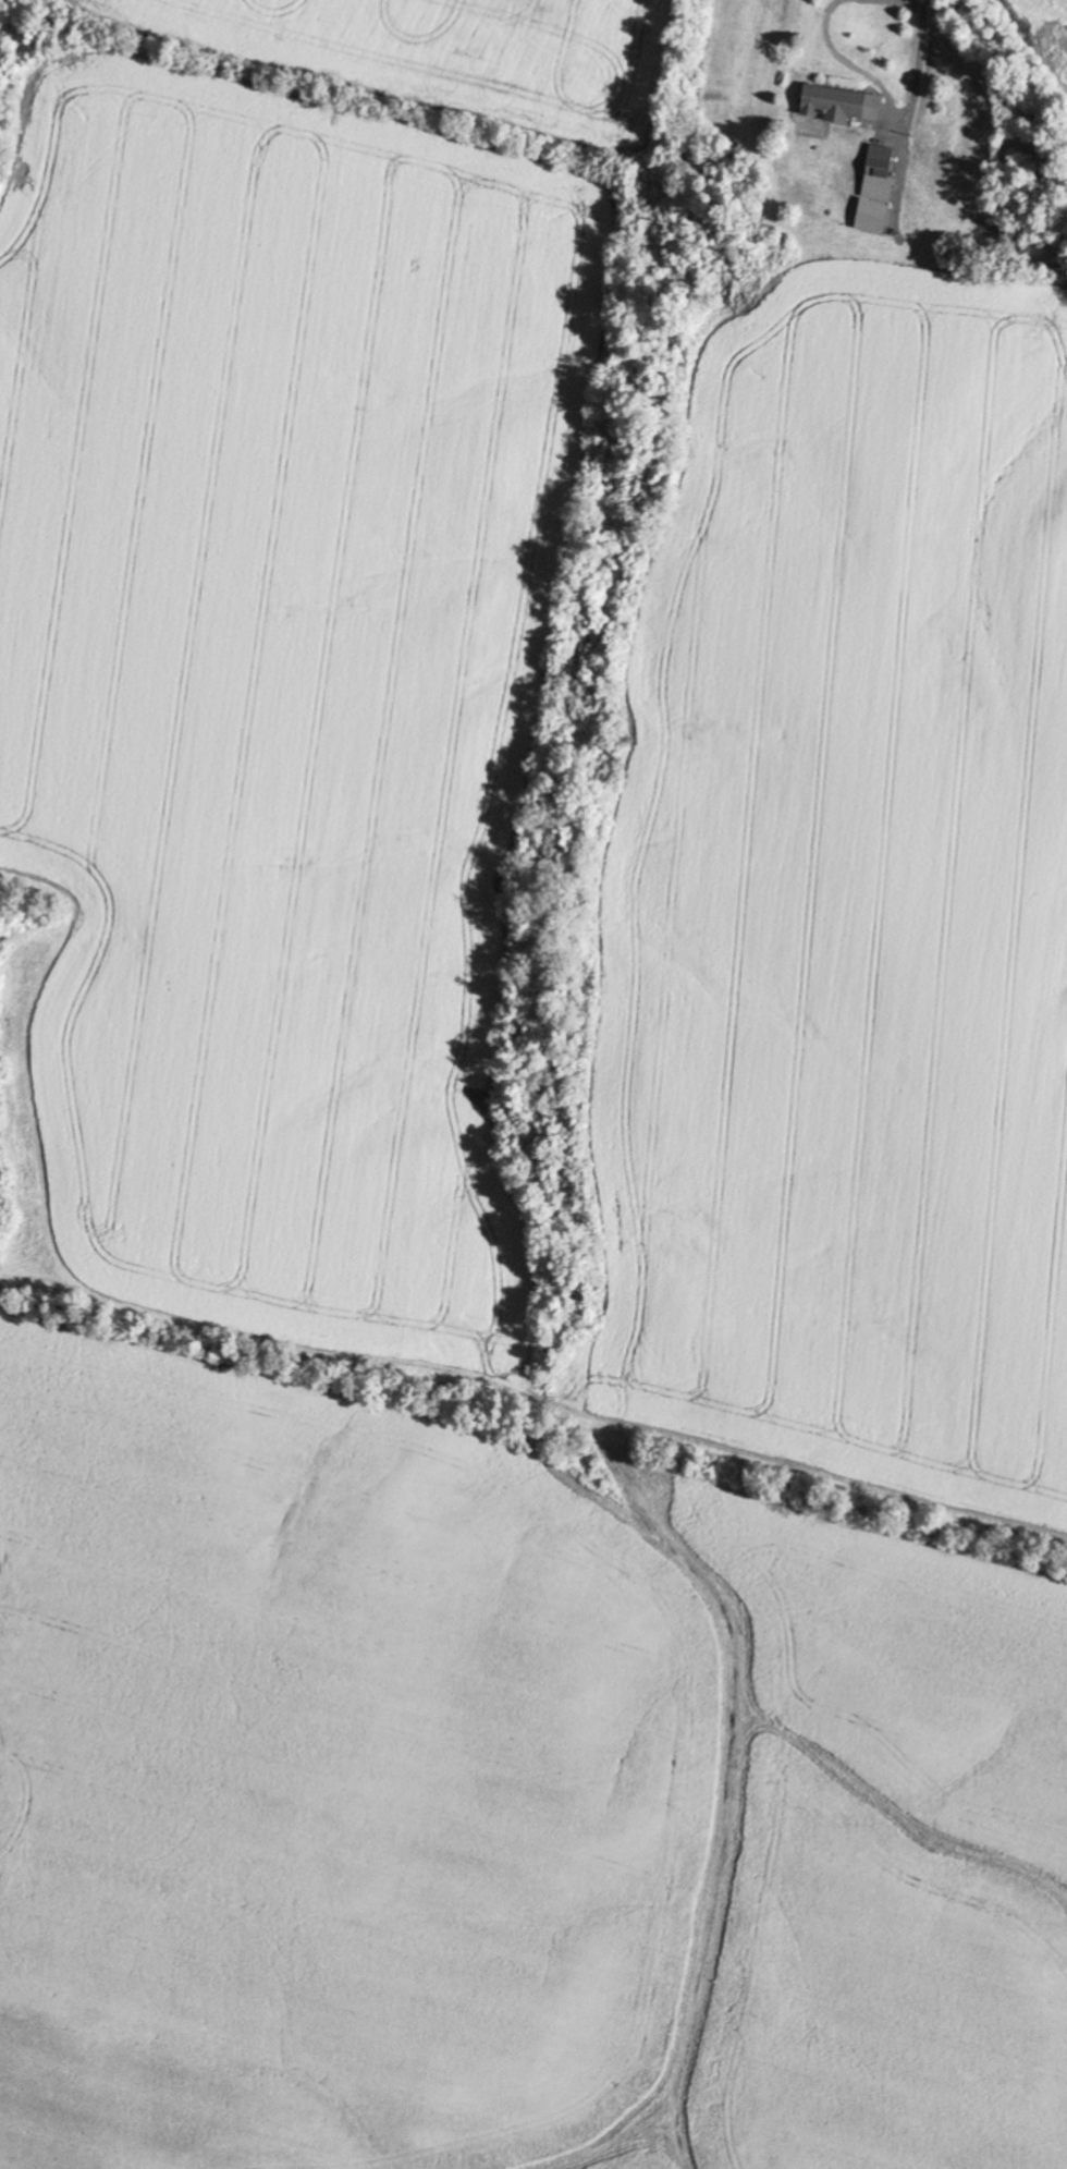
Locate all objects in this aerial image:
road: (921, 60)
building: (843, 103)
building: (880, 179)

